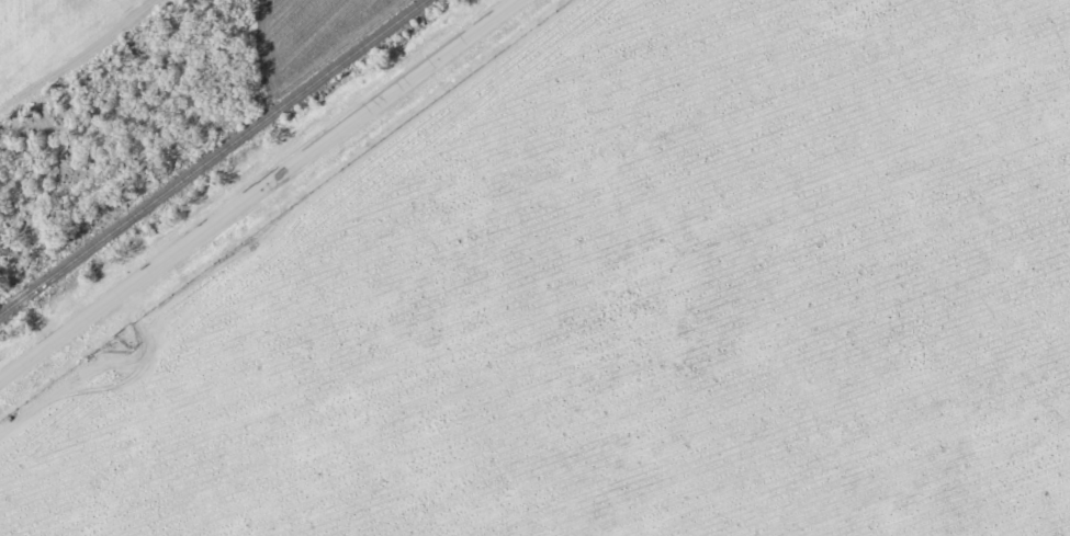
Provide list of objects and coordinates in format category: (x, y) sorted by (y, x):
railway: (212, 157)
road: (258, 191)

